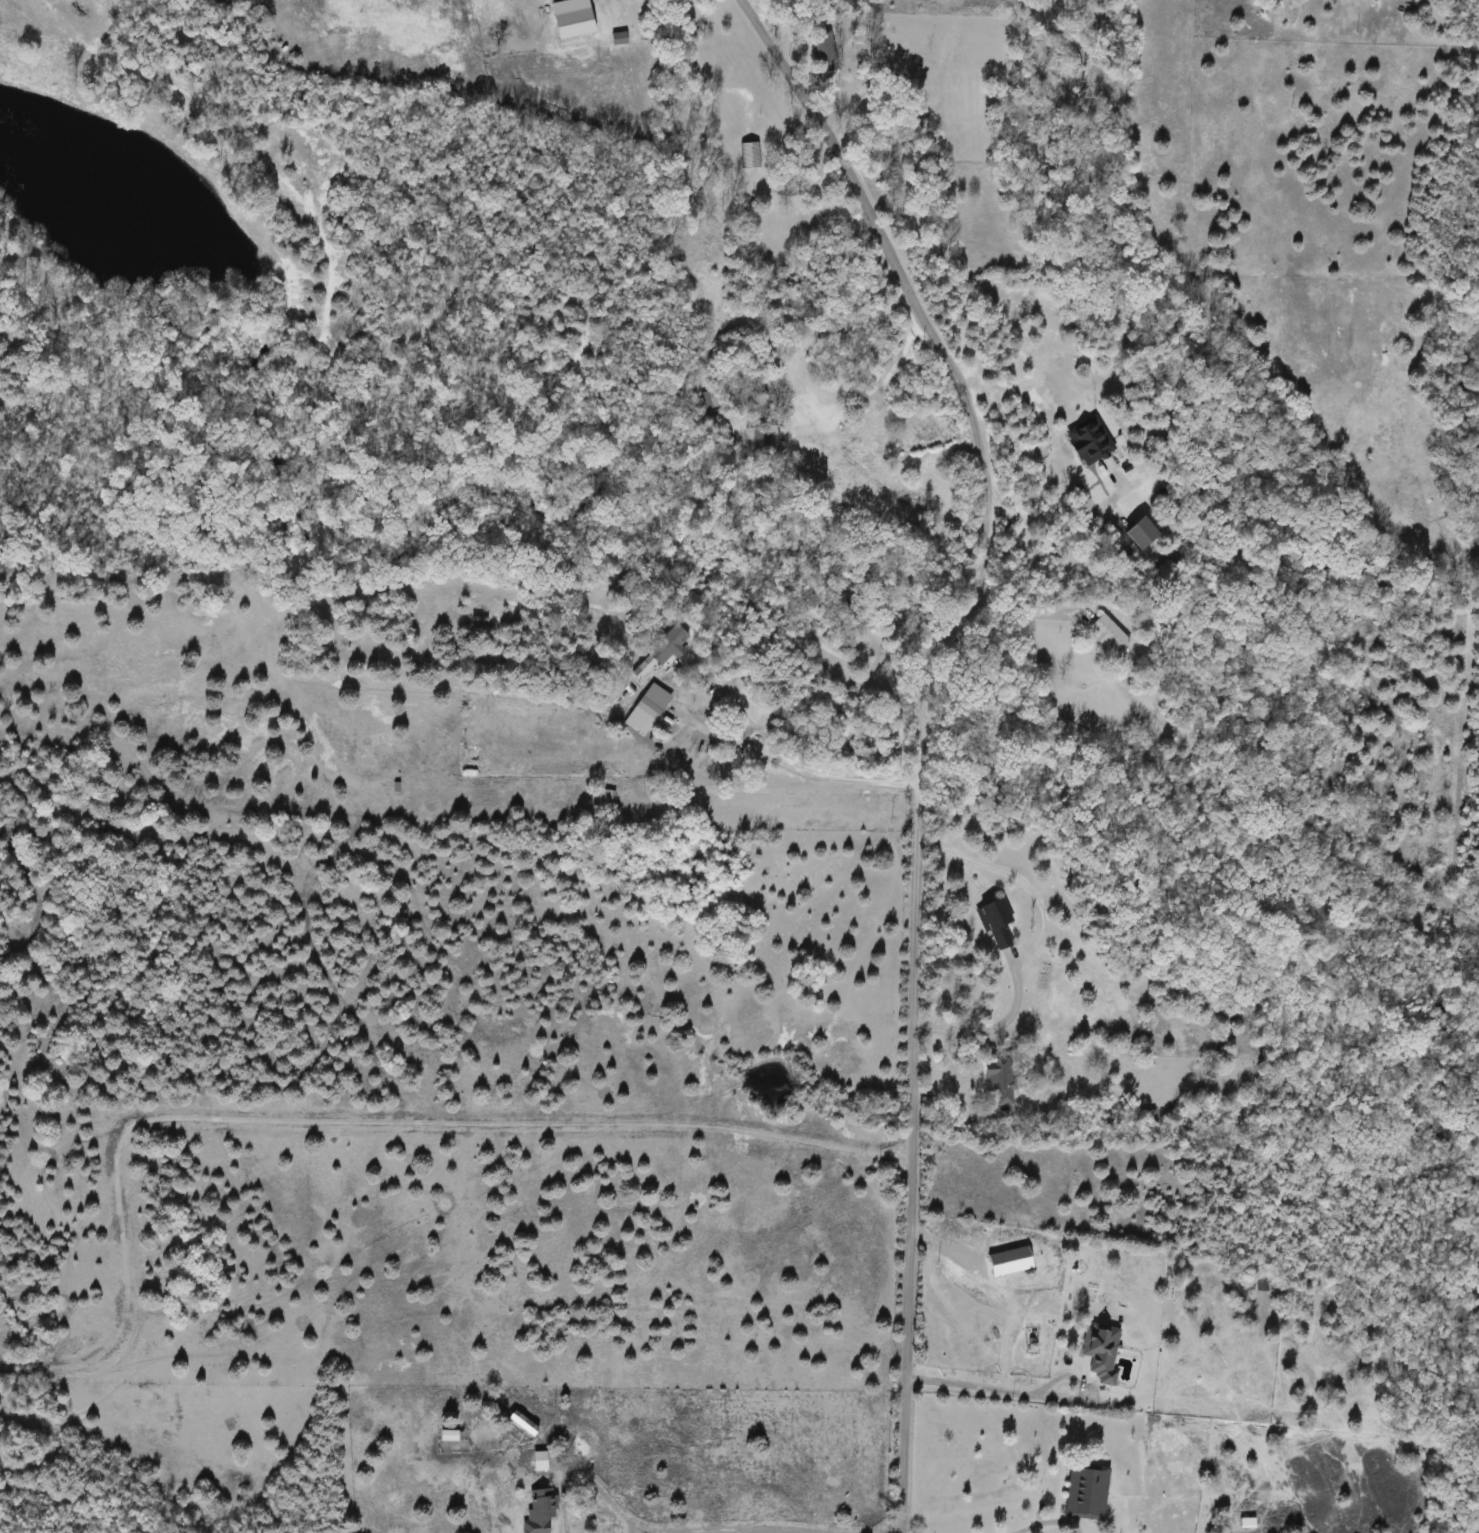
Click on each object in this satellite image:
building: (622, 39)
building: (823, 49)
building: (752, 156)
building: (713, 403)
road: (807, 412)
building: (764, 438)
building: (1093, 440)
building: (824, 453)
road: (1058, 522)
road: (1016, 611)
building: (1111, 635)
building: (671, 646)
road: (932, 733)
road: (792, 766)
building: (604, 799)
road: (1019, 875)
building: (1000, 924)
road: (987, 1028)
building: (1003, 1080)
building: (1153, 1115)
road: (347, 1120)
building: (1105, 1352)
road: (1028, 1396)
building: (452, 1436)
building: (544, 1462)
road: (586, 1478)
building: (1090, 1493)
building: (543, 1511)
road: (1050, 1522)
building: (1251, 1524)
road: (765, 1528)

